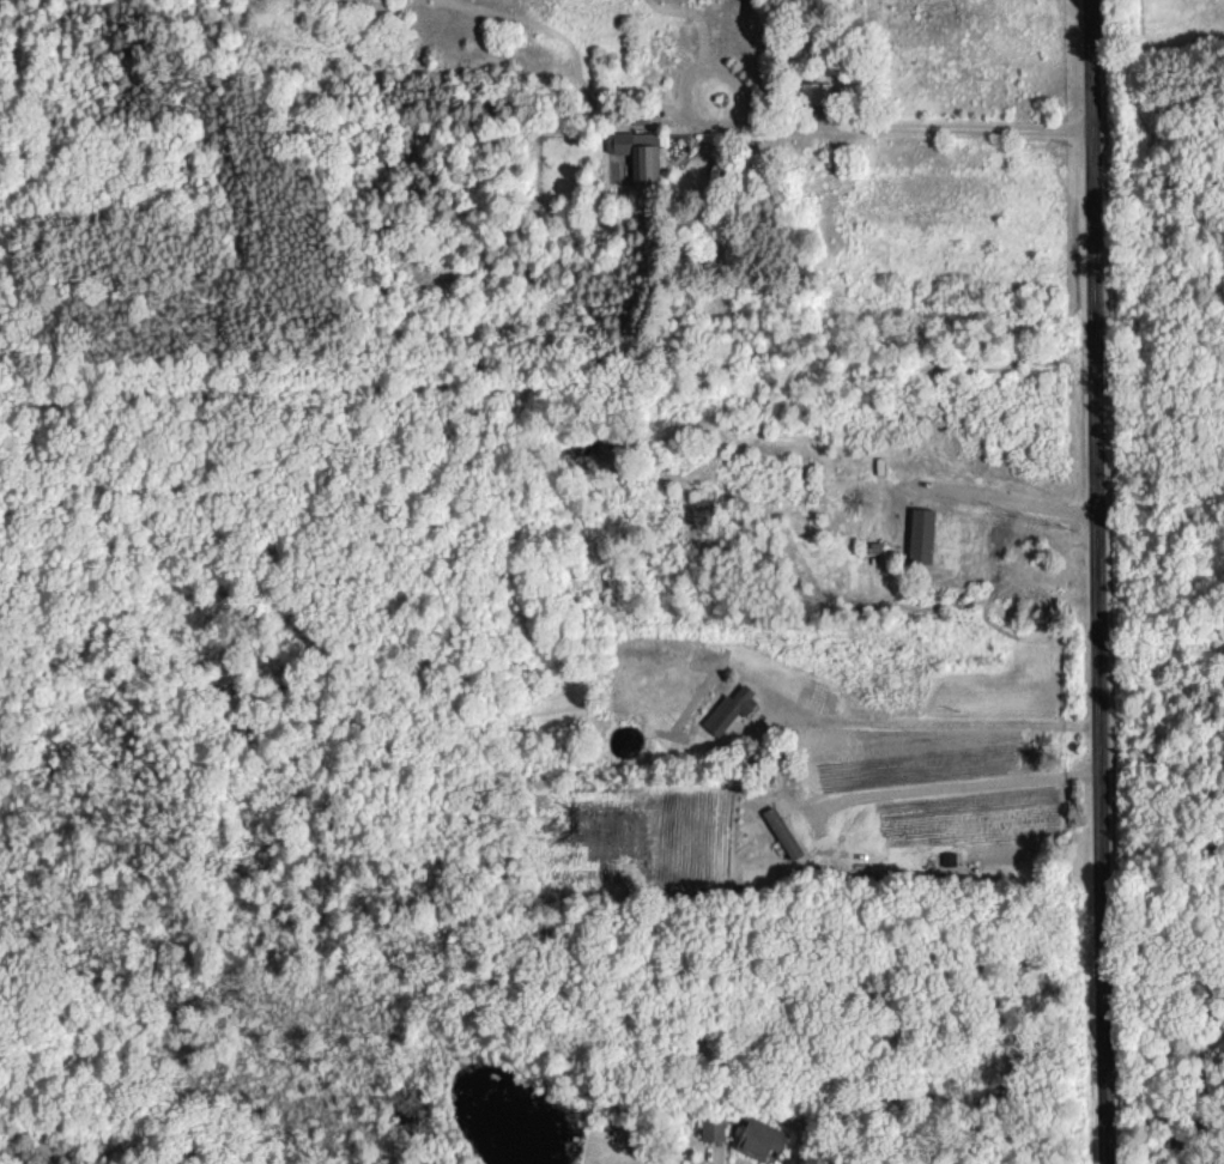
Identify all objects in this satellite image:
road: (880, 127)
building: (641, 153)
road: (1002, 499)
building: (920, 534)
road: (1097, 582)
building: (728, 710)
road: (935, 722)
road: (956, 784)
building: (714, 1128)
building: (762, 1138)
road: (711, 1162)

